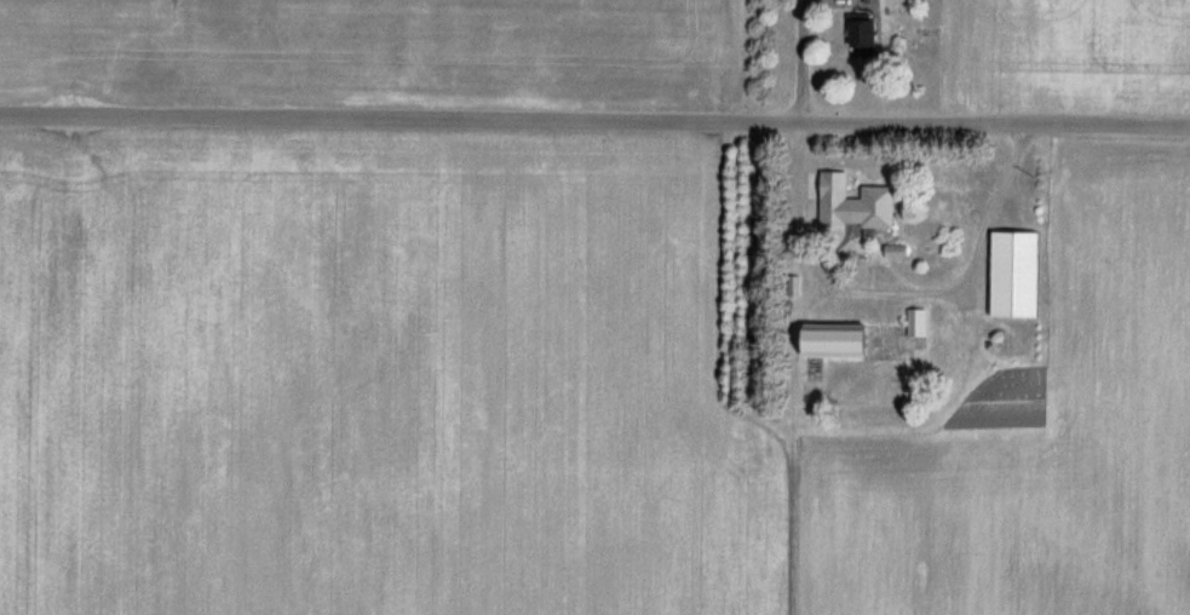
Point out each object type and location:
building: (867, 28)
road: (801, 61)
road: (594, 120)
building: (873, 206)
building: (1021, 272)
road: (895, 288)
building: (915, 320)
building: (843, 339)

